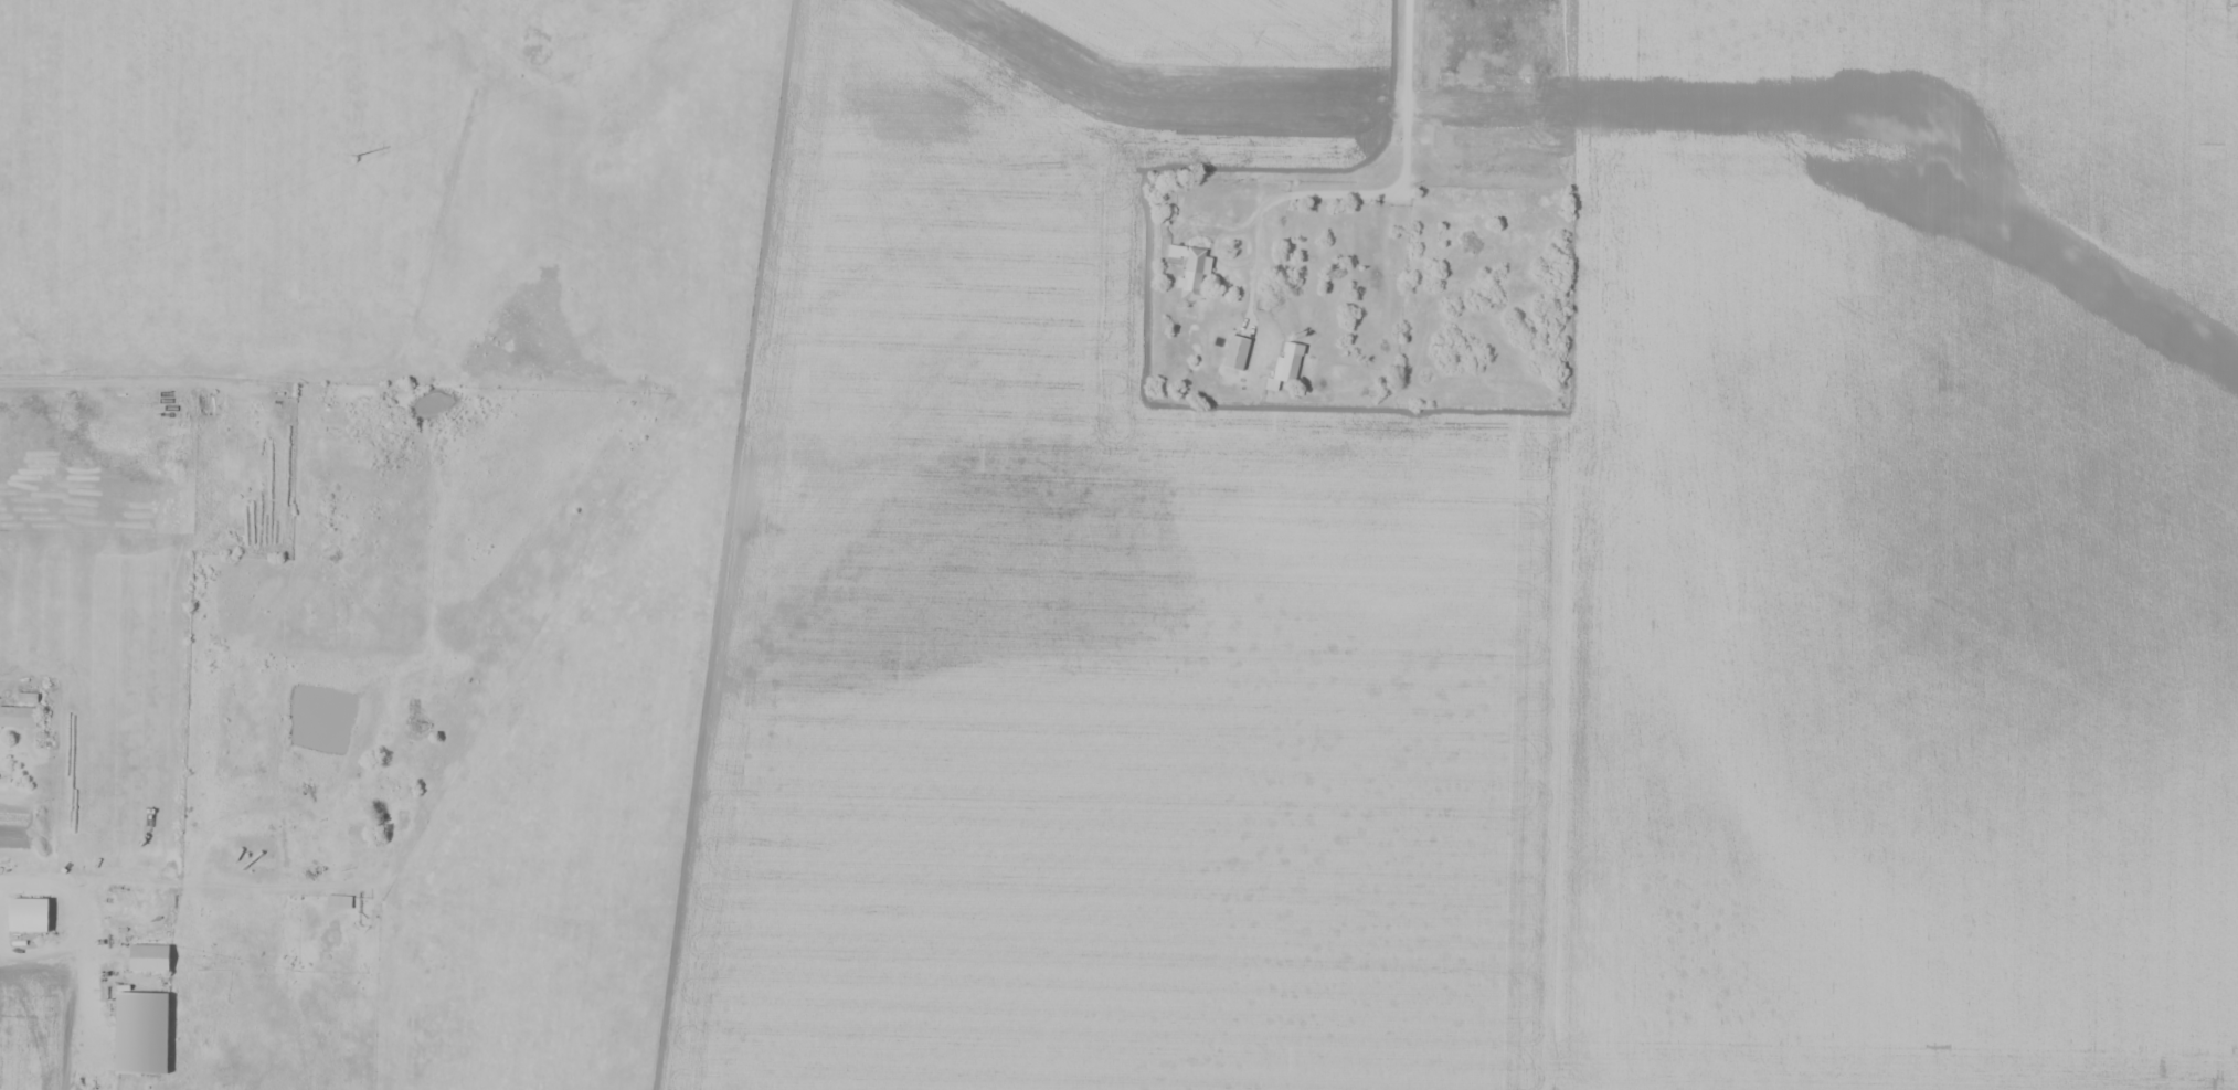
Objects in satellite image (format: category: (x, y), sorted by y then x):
power tower: (358, 155)
road: (1403, 165)
building: (1194, 272)
building: (1235, 351)
building: (1287, 363)
building: (18, 716)
building: (1744, 808)
building: (338, 900)
building: (28, 914)
building: (148, 956)

